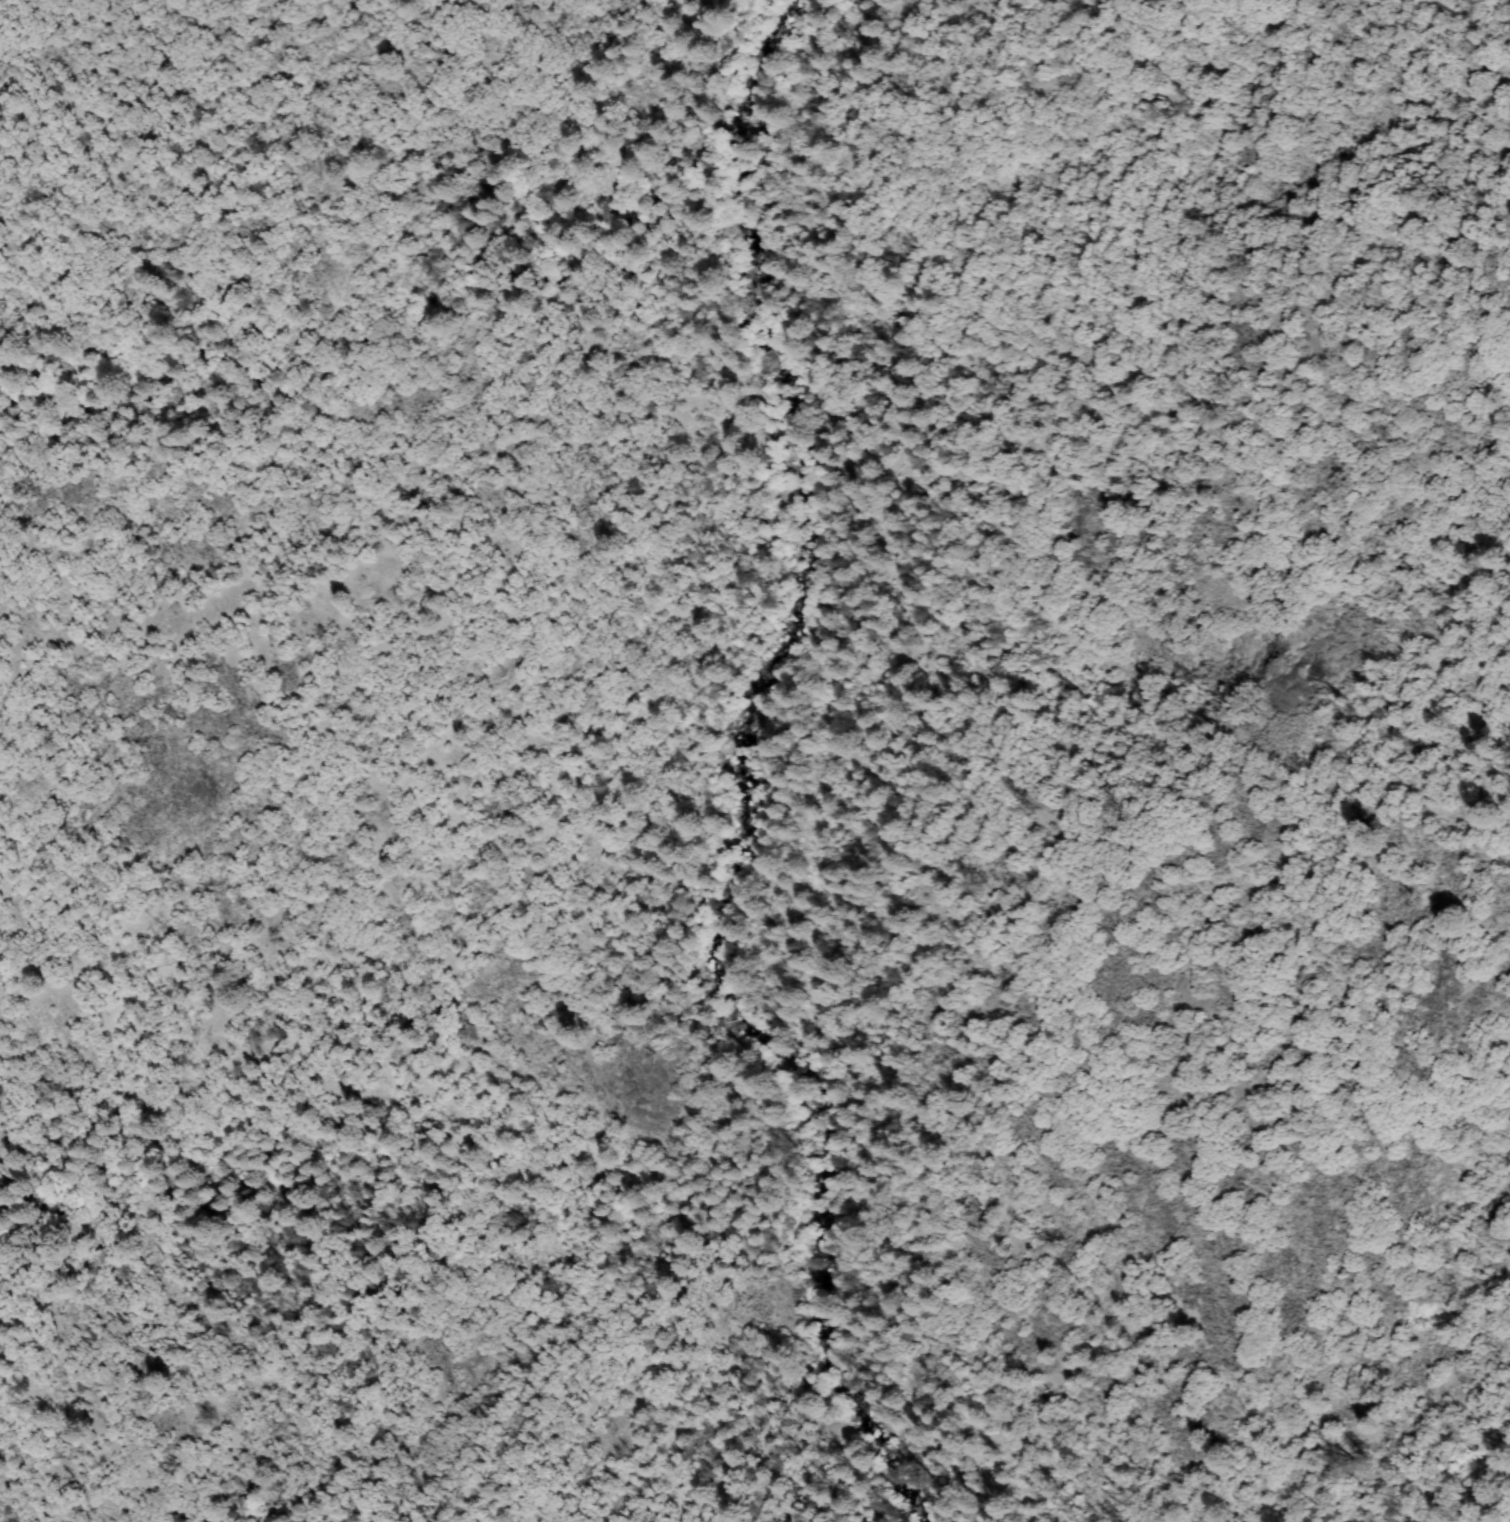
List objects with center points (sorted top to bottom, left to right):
river: (742, 780)

